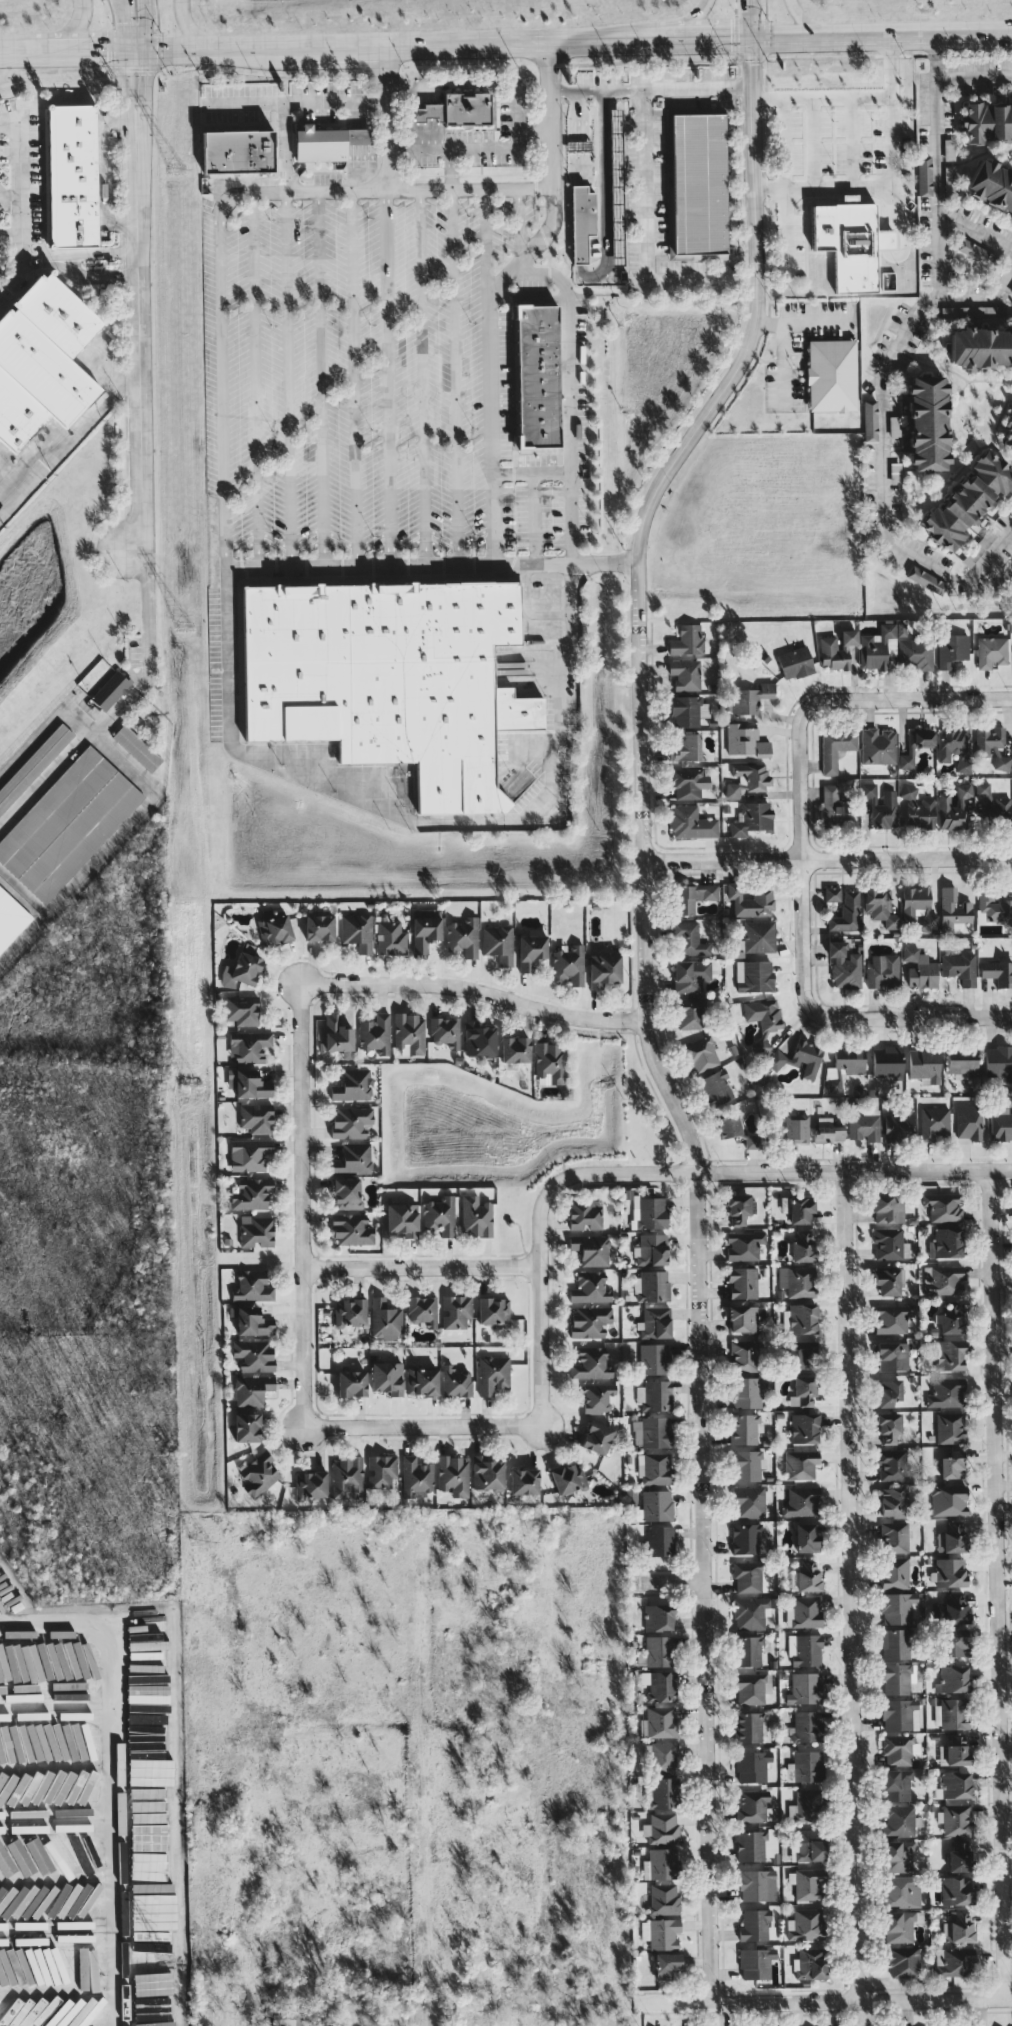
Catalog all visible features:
road: (751, 19)
traffic signals: (124, 20)
road: (687, 21)
road: (806, 21)
road: (124, 25)
road: (144, 25)
road: (188, 26)
road: (75, 27)
road: (882, 35)
traffic signals: (752, 38)
road: (709, 39)
road: (653, 40)
road: (350, 47)
traffic signals: (107, 50)
road: (17, 51)
road: (47, 51)
traffic signals: (145, 71)
road: (127, 84)
road: (145, 84)
road: (595, 90)
road: (755, 90)
road: (289, 102)
road: (244, 103)
building: (466, 108)
road: (892, 110)
building: (427, 112)
road: (551, 113)
road: (384, 119)
road: (578, 120)
building: (987, 122)
road: (785, 128)
road: (604, 133)
building: (326, 142)
building: (578, 145)
road: (486, 146)
building: (949, 149)
building: (238, 151)
power tower: (177, 169)
road: (102, 171)
building: (924, 175)
road: (580, 176)
building: (616, 178)
building: (949, 179)
building: (70, 181)
building: (696, 183)
road: (643, 184)
building: (991, 186)
road: (840, 187)
road: (469, 188)
road: (771, 188)
parking lot: (4, 197)
road: (11, 197)
road: (21, 207)
building: (582, 221)
road: (974, 229)
road: (545, 234)
building: (851, 242)
road: (12, 249)
road: (104, 252)
building: (976, 252)
road: (48, 261)
road: (103, 274)
building: (1011, 293)
road: (1, 294)
road: (983, 297)
building: (971, 311)
road: (903, 336)
building: (981, 347)
road: (783, 349)
building: (43, 362)
building: (831, 375)
road: (456, 376)
building: (538, 376)
road: (423, 377)
road: (320, 378)
road: (354, 378)
road: (387, 378)
road: (255, 379)
road: (288, 379)
parking lot: (396, 381)
road: (570, 393)
road: (490, 413)
building: (870, 419)
building: (927, 423)
building: (895, 426)
building: (1008, 431)
road: (71, 436)
road: (143, 499)
building: (968, 500)
road: (989, 552)
road: (432, 564)
building: (926, 580)
road: (228, 603)
power tower: (186, 627)
building: (901, 629)
building: (687, 640)
road: (570, 644)
building: (876, 646)
building: (836, 649)
building: (951, 649)
building: (991, 652)
building: (915, 654)
building: (795, 662)
building: (684, 675)
building: (392, 680)
building: (110, 690)
building: (751, 698)
road: (831, 698)
building: (688, 710)
road: (44, 726)
building: (989, 739)
building: (746, 740)
building: (950, 743)
building: (916, 744)
building: (878, 746)
building: (136, 747)
building: (836, 747)
building: (687, 748)
building: (46, 750)
building: (1002, 762)
building: (964, 766)
building: (748, 778)
building: (688, 783)
building: (992, 804)
building: (880, 806)
building: (833, 807)
building: (917, 808)
building: (955, 809)
building: (752, 818)
building: (66, 823)
building: (691, 823)
road: (112, 844)
road: (828, 858)
building: (832, 894)
road: (22, 895)
building: (695, 896)
building: (750, 900)
building: (880, 907)
building: (918, 908)
building: (994, 908)
building: (953, 910)
building: (846, 912)
building: (8, 919)
building: (319, 927)
building: (274, 929)
building: (358, 931)
building: (425, 931)
building: (463, 936)
building: (759, 936)
building: (390, 938)
building: (689, 939)
building: (498, 943)
building: (531, 951)
building: (569, 964)
building: (844, 965)
building: (920, 968)
building: (960, 968)
building: (604, 969)
building: (242, 970)
building: (883, 971)
building: (998, 972)
building: (691, 975)
building: (754, 976)
road: (472, 990)
building: (241, 1008)
building: (691, 1013)
road: (835, 1016)
building: (445, 1031)
building: (409, 1033)
building: (375, 1034)
building: (338, 1036)
building: (479, 1040)
building: (248, 1046)
building: (761, 1046)
building: (514, 1049)
building: (701, 1054)
building: (800, 1058)
road: (654, 1060)
building: (846, 1062)
building: (962, 1063)
building: (999, 1063)
building: (888, 1065)
building: (924, 1065)
building: (248, 1083)
power tower: (195, 1084)
building: (352, 1085)
building: (834, 1085)
building: (716, 1087)
building: (256, 1117)
building: (351, 1122)
building: (969, 1122)
building: (934, 1123)
building: (898, 1124)
building: (1000, 1124)
building: (727, 1126)
building: (865, 1126)
building: (796, 1128)
building: (827, 1130)
building: (752, 1141)
building: (251, 1153)
building: (352, 1159)
road: (854, 1171)
building: (251, 1193)
building: (346, 1193)
road: (300, 1206)
building: (943, 1206)
building: (738, 1208)
building: (801, 1209)
building: (887, 1209)
building: (649, 1212)
building: (585, 1214)
building: (440, 1215)
building: (476, 1216)
building: (402, 1219)
building: (351, 1229)
building: (256, 1231)
road: (538, 1231)
building: (946, 1242)
building: (890, 1243)
building: (744, 1245)
building: (803, 1246)
building: (590, 1249)
building: (652, 1249)
road: (419, 1268)
building: (943, 1280)
building: (797, 1281)
building: (887, 1281)
building: (742, 1282)
building: (250, 1285)
building: (652, 1285)
building: (590, 1287)
building: (422, 1310)
building: (456, 1311)
building: (351, 1312)
building: (492, 1312)
building: (744, 1318)
building: (803, 1318)
building: (893, 1318)
building: (385, 1319)
building: (951, 1319)
building: (590, 1321)
building: (252, 1322)
building: (655, 1323)
building: (804, 1354)
building: (253, 1355)
building: (744, 1355)
building: (949, 1355)
building: (892, 1356)
building: (654, 1358)
building: (591, 1363)
building: (493, 1374)
building: (387, 1377)
building: (421, 1380)
building: (456, 1381)
building: (352, 1383)
building: (805, 1387)
building: (251, 1390)
building: (748, 1391)
building: (946, 1392)
building: (889, 1393)
building: (654, 1395)
building: (597, 1397)
building: (247, 1427)
road: (422, 1427)
building: (888, 1427)
building: (950, 1427)
building: (744, 1428)
building: (804, 1428)
building: (656, 1432)
building: (596, 1437)
building: (800, 1464)
building: (746, 1465)
building: (892, 1465)
building: (952, 1465)
building: (655, 1469)
building: (381, 1470)
building: (487, 1473)
building: (258, 1474)
building: (453, 1475)
building: (346, 1476)
building: (416, 1477)
building: (568, 1479)
building: (524, 1481)
building: (310, 1484)
building: (949, 1499)
building: (749, 1501)
building: (801, 1501)
building: (891, 1501)
building: (656, 1505)
building: (895, 1537)
building: (747, 1538)
building: (806, 1538)
building: (952, 1538)
building: (660, 1540)
power tower: (203, 1542)
building: (895, 1572)
building: (950, 1572)
building: (751, 1577)
building: (806, 1577)
road: (666, 1581)
road: (998, 1584)
road: (849, 1586)
building: (898, 1607)
building: (951, 1610)
building: (752, 1612)
building: (804, 1612)
building: (658, 1617)
building: (955, 1642)
building: (896, 1643)
building: (805, 1649)
building: (142, 1650)
building: (750, 1650)
building: (658, 1651)
building: (23, 1662)
building: (147, 1662)
building: (3, 1667)
building: (148, 1676)
building: (897, 1678)
building: (954, 1678)
building: (660, 1685)
building: (752, 1687)
building: (804, 1688)
building: (29, 1696)
building: (1, 1698)
building: (954, 1713)
building: (900, 1714)
building: (74, 1715)
building: (658, 1722)
building: (807, 1726)
building: (749, 1727)
building: (149, 1734)
building: (70, 1743)
building: (900, 1749)
building: (954, 1751)
building: (664, 1757)
building: (752, 1765)
building: (808, 1765)
building: (150, 1771)
road: (114, 1784)
building: (898, 1784)
building: (956, 1784)
building: (6, 1785)
building: (59, 1786)
building: (30, 1787)
building: (663, 1792)
building: (755, 1806)
building: (807, 1806)
building: (148, 1807)
building: (73, 1811)
building: (15, 1813)
building: (955, 1819)
building: (901, 1820)
building: (661, 1828)
building: (758, 1844)
building: (810, 1845)
building: (900, 1855)
building: (39, 1856)
building: (21, 1857)
building: (959, 1857)
building: (148, 1861)
building: (6, 1862)
building: (662, 1863)
building: (809, 1883)
building: (756, 1884)
building: (151, 1887)
building: (957, 1890)
building: (901, 1891)
building: (6, 1894)
building: (664, 1898)
building: (20, 1899)
building: (153, 1911)
building: (806, 1924)
building: (756, 1925)
building: (901, 1925)
building: (960, 1926)
road: (59, 1929)
building: (660, 1933)
building: (25, 1940)
building: (151, 1941)
building: (953, 1961)
power tower: (169, 1962)
building: (756, 1962)
building: (904, 1962)
building: (810, 1963)
building: (666, 1964)
building: (51, 1966)
building: (74, 1966)
building: (41, 1967)
building: (63, 1967)
building: (8, 1968)
building: (26, 1968)
building: (87, 1969)
building: (152, 1983)
road: (825, 2001)
building: (27, 2012)
building: (281, 2015)
building: (155, 2023)

